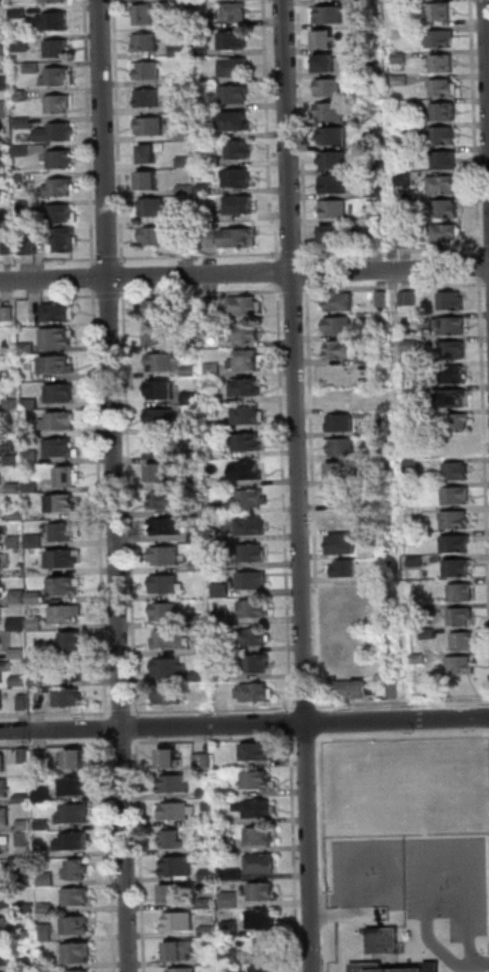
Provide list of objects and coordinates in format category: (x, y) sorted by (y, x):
building: (55, 0)
building: (180, 0)
building: (372, 0)
building: (399, 0)
building: (236, 11)
building: (21, 12)
building: (442, 12)
building: (146, 14)
building: (329, 15)
building: (56, 21)
building: (367, 21)
building: (203, 22)
building: (5, 30)
building: (326, 38)
building: (443, 38)
road: (487, 40)
building: (233, 41)
building: (24, 43)
building: (148, 43)
building: (60, 48)
building: (179, 48)
building: (203, 50)
building: (5, 51)
building: (402, 58)
building: (327, 62)
building: (444, 63)
building: (35, 67)
building: (235, 67)
building: (148, 70)
building: (61, 77)
building: (181, 79)
building: (403, 79)
building: (5, 83)
building: (331, 87)
building: (445, 87)
building: (235, 94)
building: (25, 95)
building: (150, 98)
building: (62, 104)
building: (180, 106)
building: (4, 108)
building: (333, 111)
building: (447, 112)
building: (236, 121)
building: (26, 123)
building: (151, 126)
road: (476, 128)
road: (269, 131)
road: (303, 131)
building: (59, 132)
building: (206, 132)
building: (406, 132)
road: (120, 133)
road: (91, 134)
building: (185, 135)
building: (335, 135)
building: (444, 135)
building: (375, 142)
building: (240, 149)
building: (24, 150)
building: (149, 153)
building: (407, 156)
building: (64, 159)
building: (336, 160)
building: (447, 160)
building: (214, 161)
building: (186, 162)
building: (23, 178)
building: (239, 178)
building: (406, 179)
building: (149, 180)
building: (335, 184)
building: (444, 184)
building: (62, 187)
building: (206, 189)
building: (377, 189)
building: (187, 190)
building: (6, 195)
building: (407, 204)
building: (240, 205)
building: (153, 207)
building: (28, 208)
building: (335, 208)
building: (447, 208)
building: (65, 214)
building: (186, 215)
building: (208, 215)
building: (378, 215)
building: (6, 222)
building: (211, 229)
building: (445, 232)
building: (332, 234)
building: (158, 236)
building: (241, 237)
building: (381, 239)
building: (407, 239)
building: (66, 240)
building: (191, 244)
building: (30, 247)
road: (488, 248)
road: (395, 250)
road: (293, 254)
road: (202, 256)
road: (111, 259)
road: (49, 260)
road: (481, 267)
road: (279, 272)
road: (308, 272)
road: (244, 273)
road: (125, 277)
road: (96, 279)
road: (488, 284)
road: (396, 287)
road: (295, 289)
road: (203, 292)
road: (110, 295)
road: (50, 296)
building: (410, 298)
building: (383, 299)
building: (340, 301)
building: (453, 301)
building: (213, 304)
building: (246, 306)
building: (166, 308)
building: (59, 312)
building: (10, 314)
building: (340, 325)
building: (454, 326)
building: (247, 332)
building: (158, 334)
building: (59, 336)
building: (214, 341)
building: (192, 343)
building: (412, 345)
building: (377, 347)
building: (31, 349)
building: (348, 349)
building: (17, 350)
building: (455, 350)
building: (248, 360)
building: (165, 363)
building: (60, 365)
building: (215, 369)
building: (191, 371)
building: (456, 374)
building: (11, 376)
building: (247, 388)
building: (162, 390)
building: (62, 394)
building: (193, 398)
road: (485, 398)
building: (215, 399)
building: (341, 399)
building: (454, 399)
building: (14, 404)
building: (32, 404)
building: (249, 415)
building: (163, 417)
building: (419, 417)
building: (60, 421)
building: (343, 423)
building: (458, 423)
building: (1, 424)
building: (194, 426)
building: (216, 426)
building: (381, 427)
building: (33, 432)
building: (14, 433)
building: (414, 439)
building: (249, 442)
building: (11, 447)
building: (159, 447)
building: (342, 447)
building: (2, 448)
building: (61, 448)
building: (455, 448)
building: (196, 452)
building: (32, 457)
building: (15, 460)
building: (415, 465)
building: (249, 471)
building: (343, 471)
building: (458, 471)
building: (159, 473)
building: (69, 477)
building: (195, 478)
building: (2, 480)
road: (117, 485)
road: (300, 486)
building: (33, 487)
building: (17, 489)
road: (315, 496)
building: (346, 496)
building: (458, 496)
road: (286, 497)
building: (251, 499)
building: (167, 500)
road: (132, 502)
building: (63, 504)
road: (102, 505)
building: (1, 507)
building: (218, 509)
building: (18, 515)
building: (35, 515)
building: (340, 519)
building: (457, 520)
building: (250, 526)
building: (168, 527)
building: (68, 531)
building: (3, 532)
building: (200, 537)
building: (219, 537)
building: (36, 541)
building: (19, 543)
building: (457, 544)
building: (346, 545)
building: (254, 553)
building: (169, 556)
building: (66, 559)
building: (1, 561)
building: (418, 561)
building: (221, 564)
building: (201, 565)
building: (24, 566)
building: (347, 569)
building: (459, 569)
building: (387, 570)
building: (253, 580)
building: (168, 584)
building: (65, 586)
building: (2, 589)
building: (222, 590)
building: (345, 591)
building: (463, 592)
building: (20, 597)
building: (36, 597)
building: (257, 608)
building: (167, 612)
building: (68, 614)
building: (0, 615)
building: (344, 615)
building: (462, 617)
building: (223, 618)
building: (200, 620)
building: (19, 624)
building: (38, 624)
building: (430, 635)
building: (255, 638)
building: (172, 640)
building: (74, 641)
building: (465, 641)
building: (1, 644)
building: (223, 648)
building: (20, 654)
building: (421, 659)
building: (259, 664)
building: (347, 664)
building: (462, 666)
building: (171, 668)
building: (5, 670)
building: (75, 671)
building: (223, 674)
building: (200, 677)
building: (19, 681)
building: (40, 682)
building: (357, 689)
building: (395, 691)
building: (256, 693)
building: (170, 695)
building: (70, 698)
building: (2, 701)
road: (403, 701)
building: (25, 703)
road: (307, 705)
road: (216, 710)
road: (124, 712)
road: (57, 714)
road: (322, 717)
road: (293, 723)
road: (244, 725)
road: (138, 727)
road: (110, 729)
road: (303, 737)
road: (215, 739)
road: (124, 742)
road: (57, 744)
building: (257, 752)
building: (26, 756)
building: (43, 758)
building: (77, 759)
building: (171, 759)
building: (205, 761)
building: (3, 763)
building: (259, 781)
building: (177, 784)
building: (75, 787)
building: (4, 788)
building: (228, 791)
building: (207, 793)
building: (44, 795)
building: (24, 799)
building: (209, 806)
building: (258, 809)
building: (180, 811)
building: (76, 813)
building: (5, 816)
building: (226, 819)
building: (27, 825)
building: (45, 825)
building: (262, 836)
building: (26, 839)
building: (174, 841)
building: (74, 842)
building: (5, 843)
road: (428, 843)
building: (229, 845)
building: (47, 853)
road: (297, 853)
road: (114, 854)
road: (143, 855)
building: (263, 864)
building: (180, 866)
building: (4, 870)
building: (79, 871)
building: (235, 874)
building: (210, 875)
building: (49, 878)
parking lot: (418, 879)
building: (28, 880)
building: (264, 892)
building: (173, 895)
building: (78, 897)
building: (6, 899)
building: (233, 900)
building: (209, 903)
building: (30, 908)
building: (48, 908)
building: (263, 921)
building: (182, 922)
building: (79, 926)
building: (6, 927)
building: (233, 929)
building: (211, 931)
building: (48, 933)
building: (29, 936)
building: (383, 941)
building: (270, 948)
building: (181, 952)
building: (79, 953)
building: (6, 956)
building: (233, 956)
building: (49, 962)
road: (485, 962)
building: (29, 964)
building: (367, 966)
building: (267, 969)
building: (7, 971)
building: (76, 971)
building: (185, 971)

